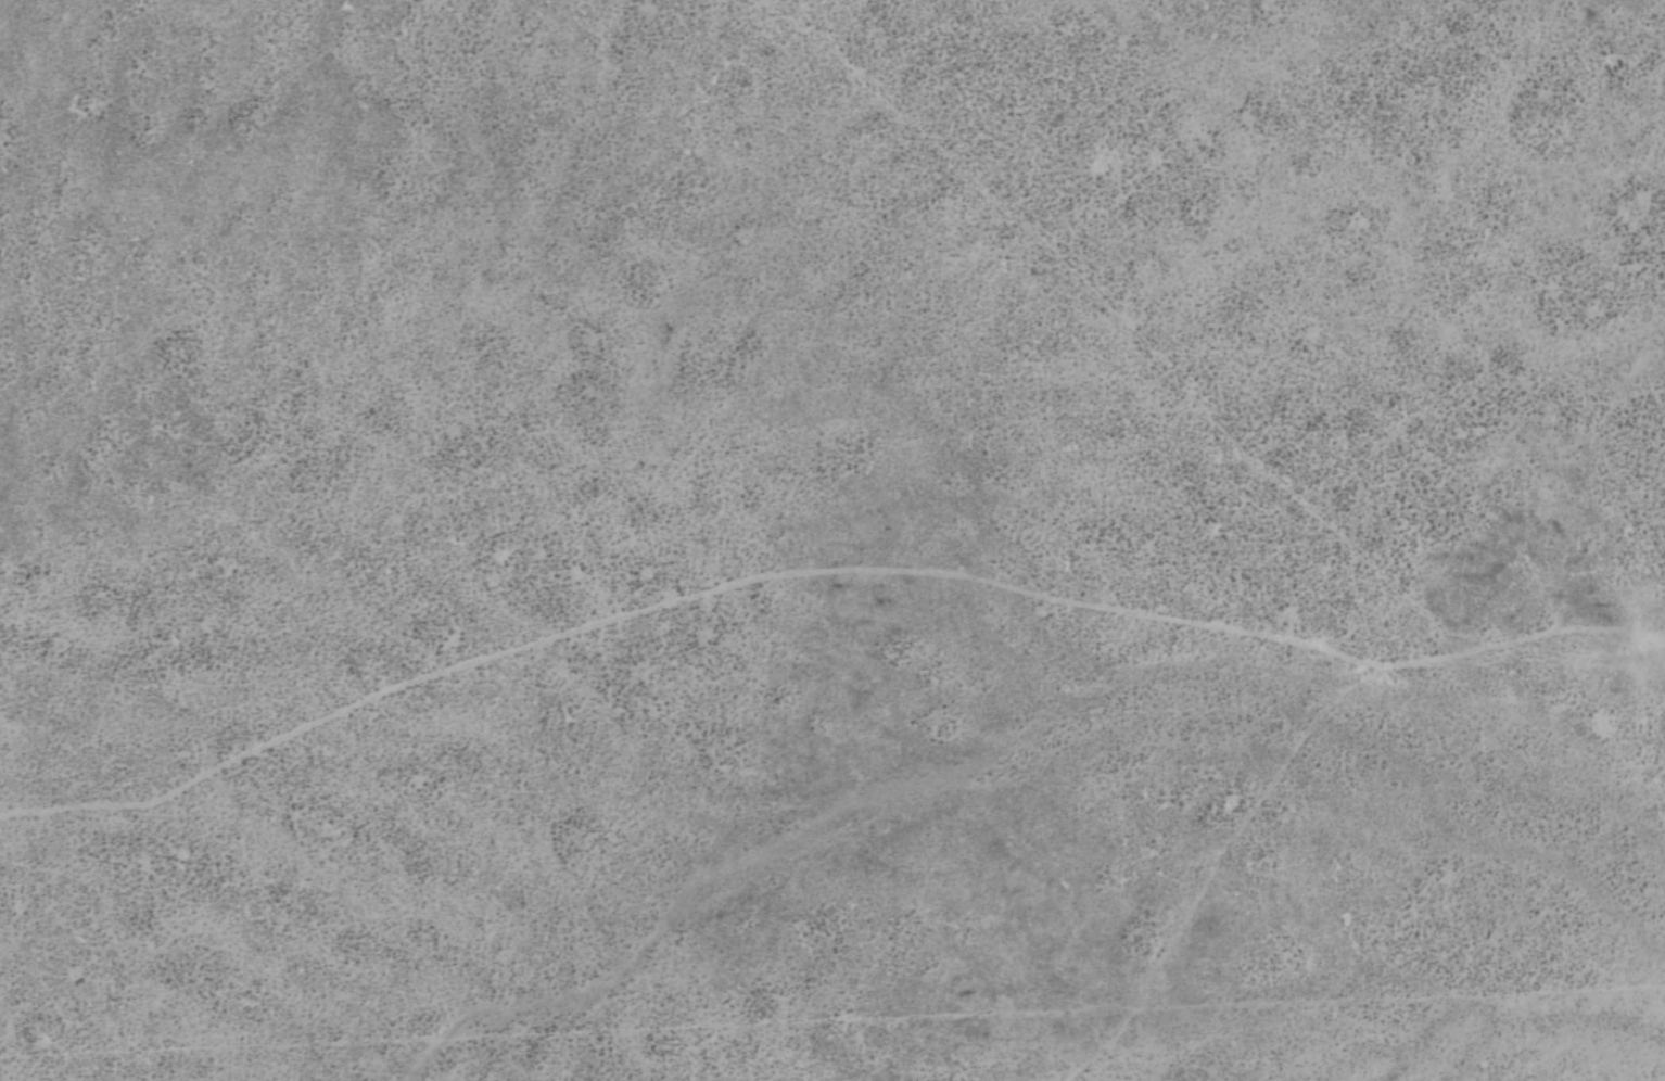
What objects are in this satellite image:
road: (817, 574)

